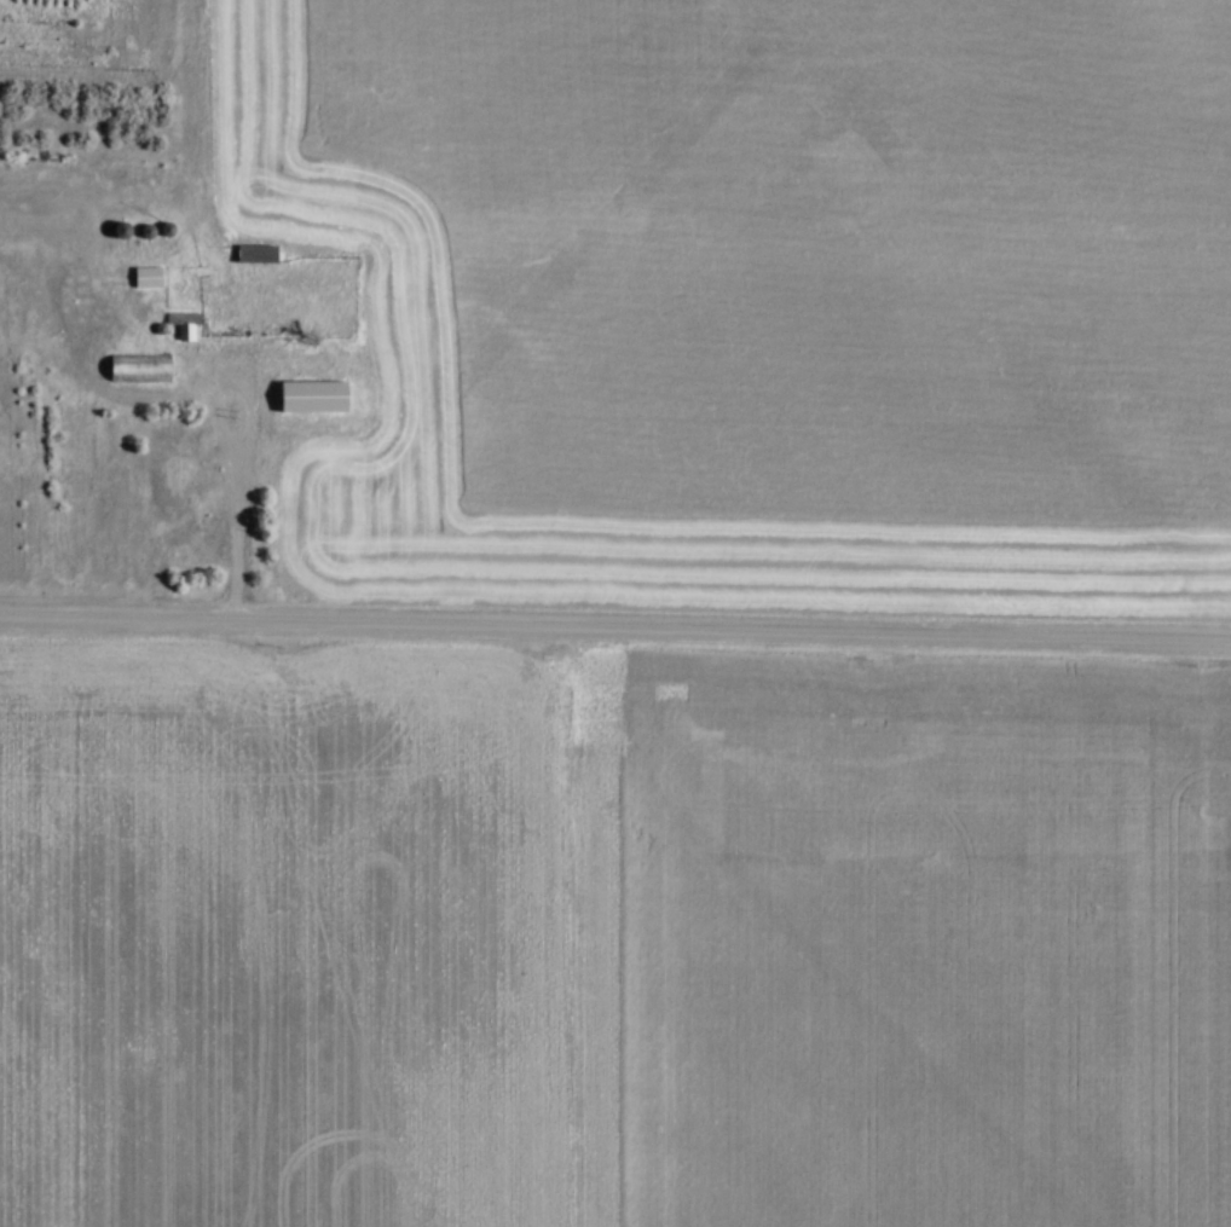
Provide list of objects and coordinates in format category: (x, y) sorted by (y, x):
silo: (169, 227)
silo: (121, 228)
silo: (149, 228)
building: (255, 250)
building: (146, 274)
crop: (752, 295)
silo: (160, 325)
building: (186, 329)
building: (138, 365)
building: (311, 397)
road: (214, 428)
road: (242, 457)
road: (615, 625)
crop: (609, 936)

